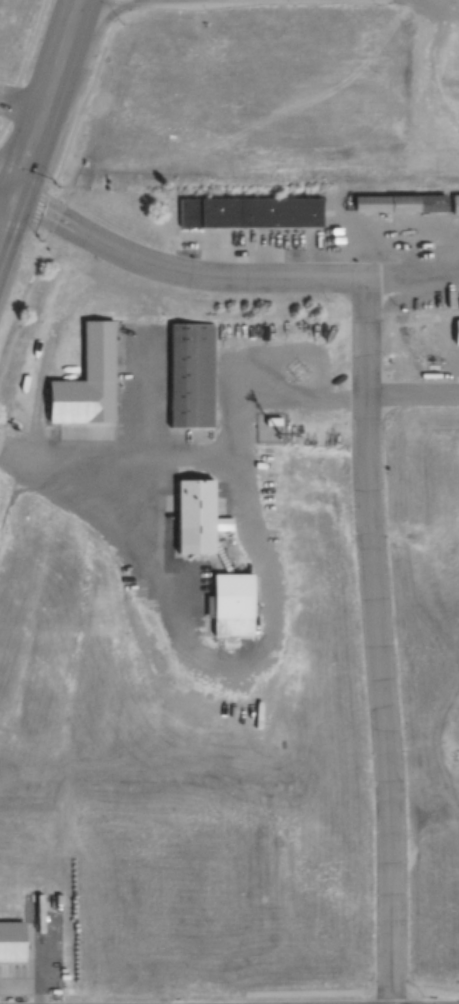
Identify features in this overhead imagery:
road: (27, 64)
road: (37, 114)
road: (5, 197)
traffic signals: (10, 199)
building: (401, 203)
building: (456, 204)
building: (250, 212)
road: (179, 271)
building: (457, 332)
building: (192, 375)
building: (89, 380)
road: (411, 395)
building: (197, 517)
building: (234, 605)
road: (376, 641)
building: (12, 940)
parking lot: (35, 960)

